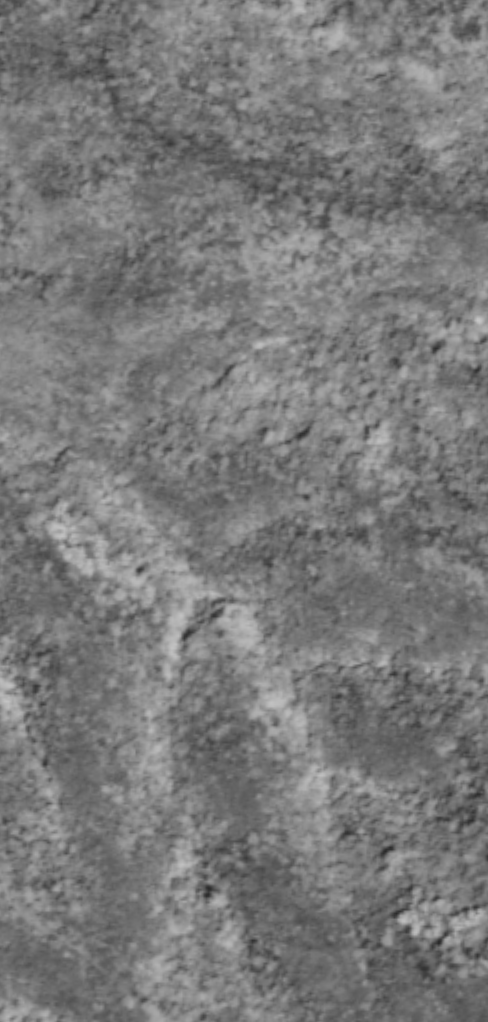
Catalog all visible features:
road: (59, 944)

